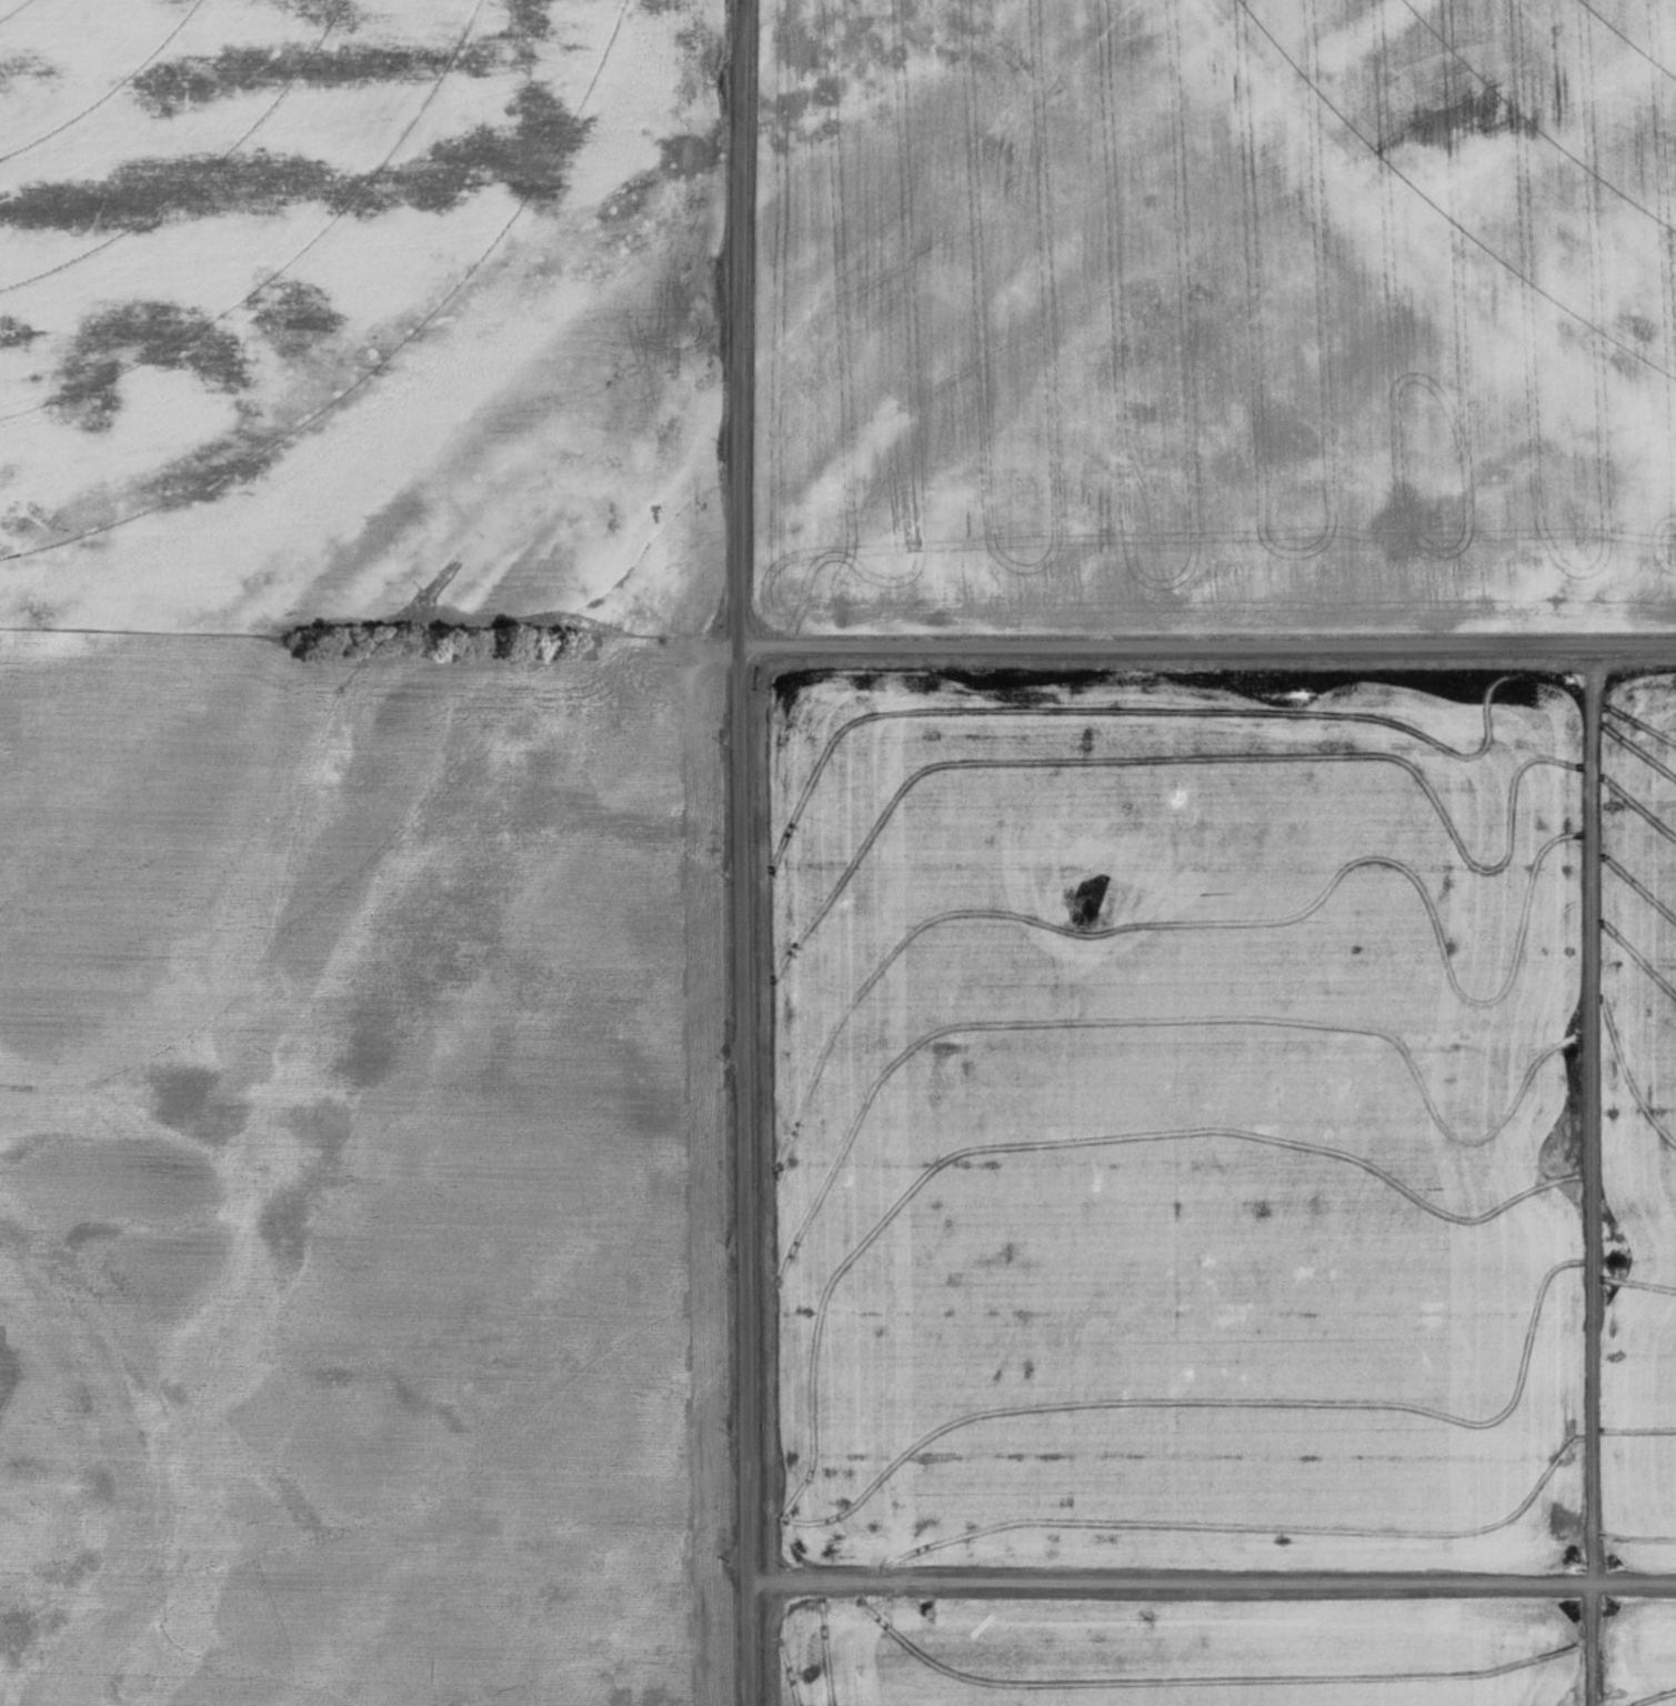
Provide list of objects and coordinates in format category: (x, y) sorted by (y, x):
road: (1214, 658)
road: (752, 853)

